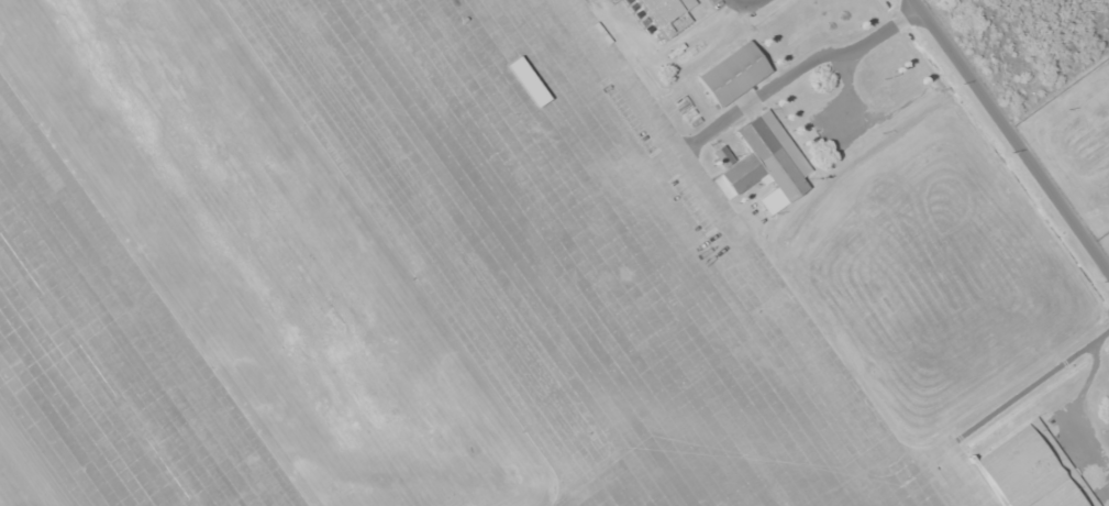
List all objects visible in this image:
building: (668, 14)
road: (842, 65)
building: (733, 75)
road: (1058, 94)
road: (1012, 134)
road: (857, 148)
building: (766, 164)
airport apron: (572, 253)
road: (1105, 256)
building: (11, 257)
airport: (537, 258)
airport runway: (97, 367)
road: (1028, 407)
building: (1031, 470)

